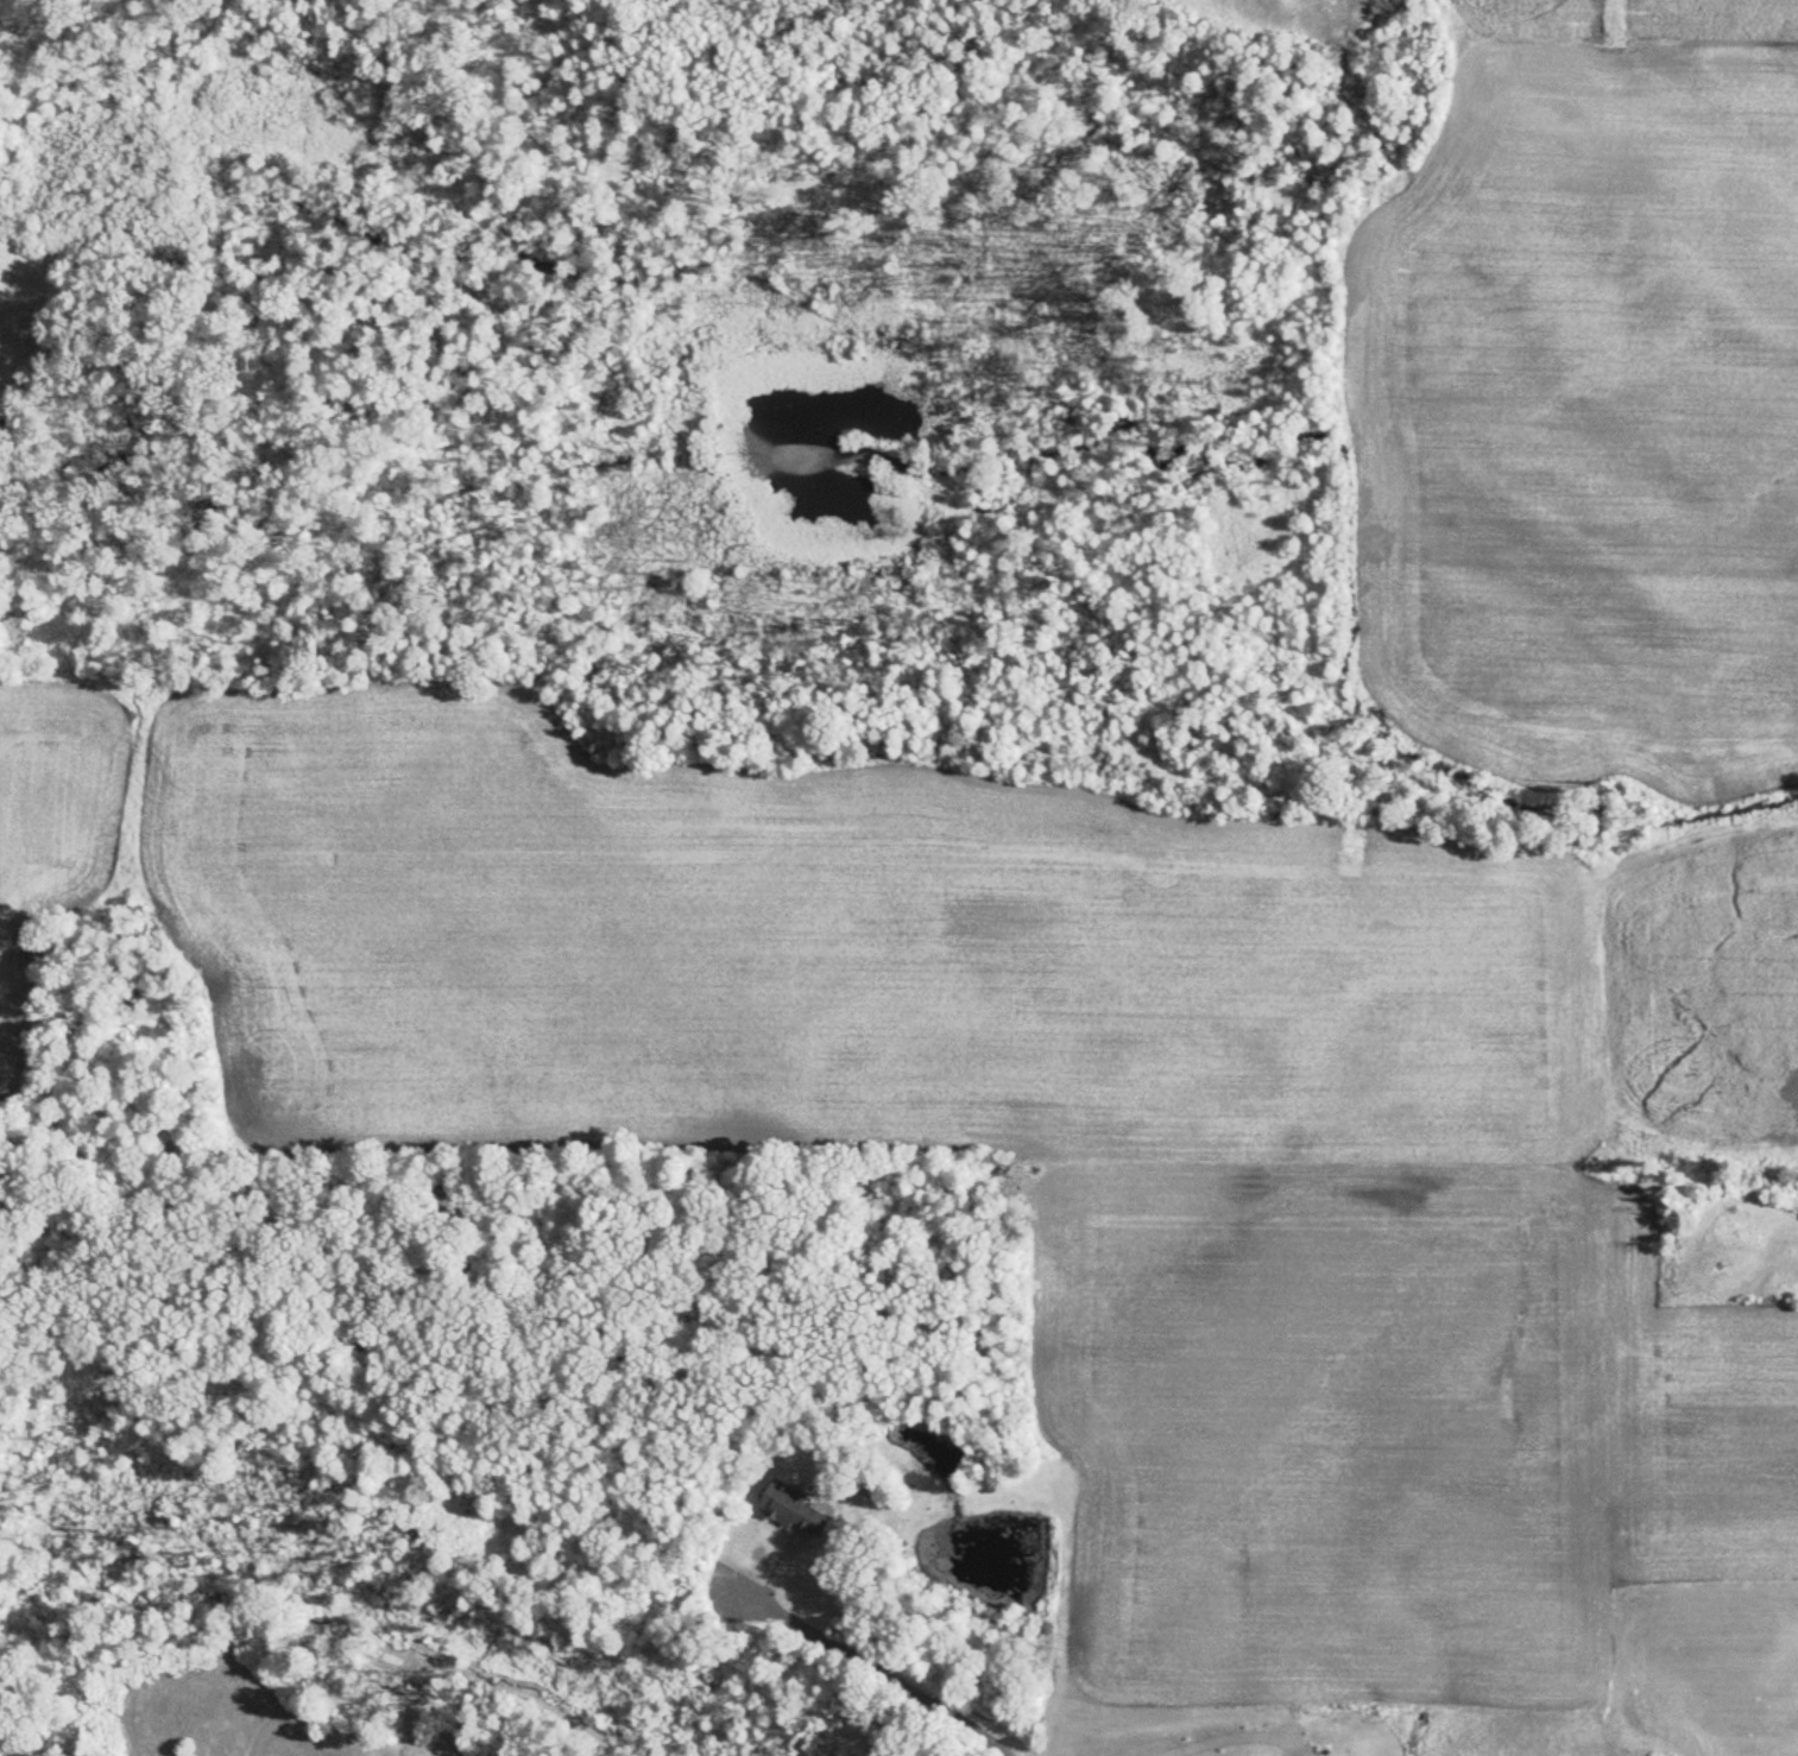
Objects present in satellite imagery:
building: (797, 1508)
road: (876, 1663)
road: (93, 1708)
road: (1226, 1737)

